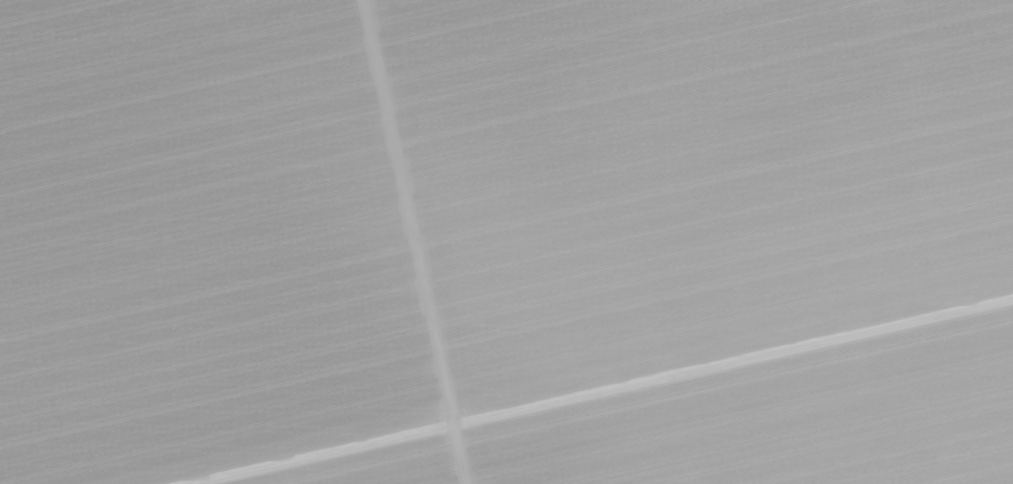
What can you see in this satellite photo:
road: (412, 242)
road: (605, 392)

